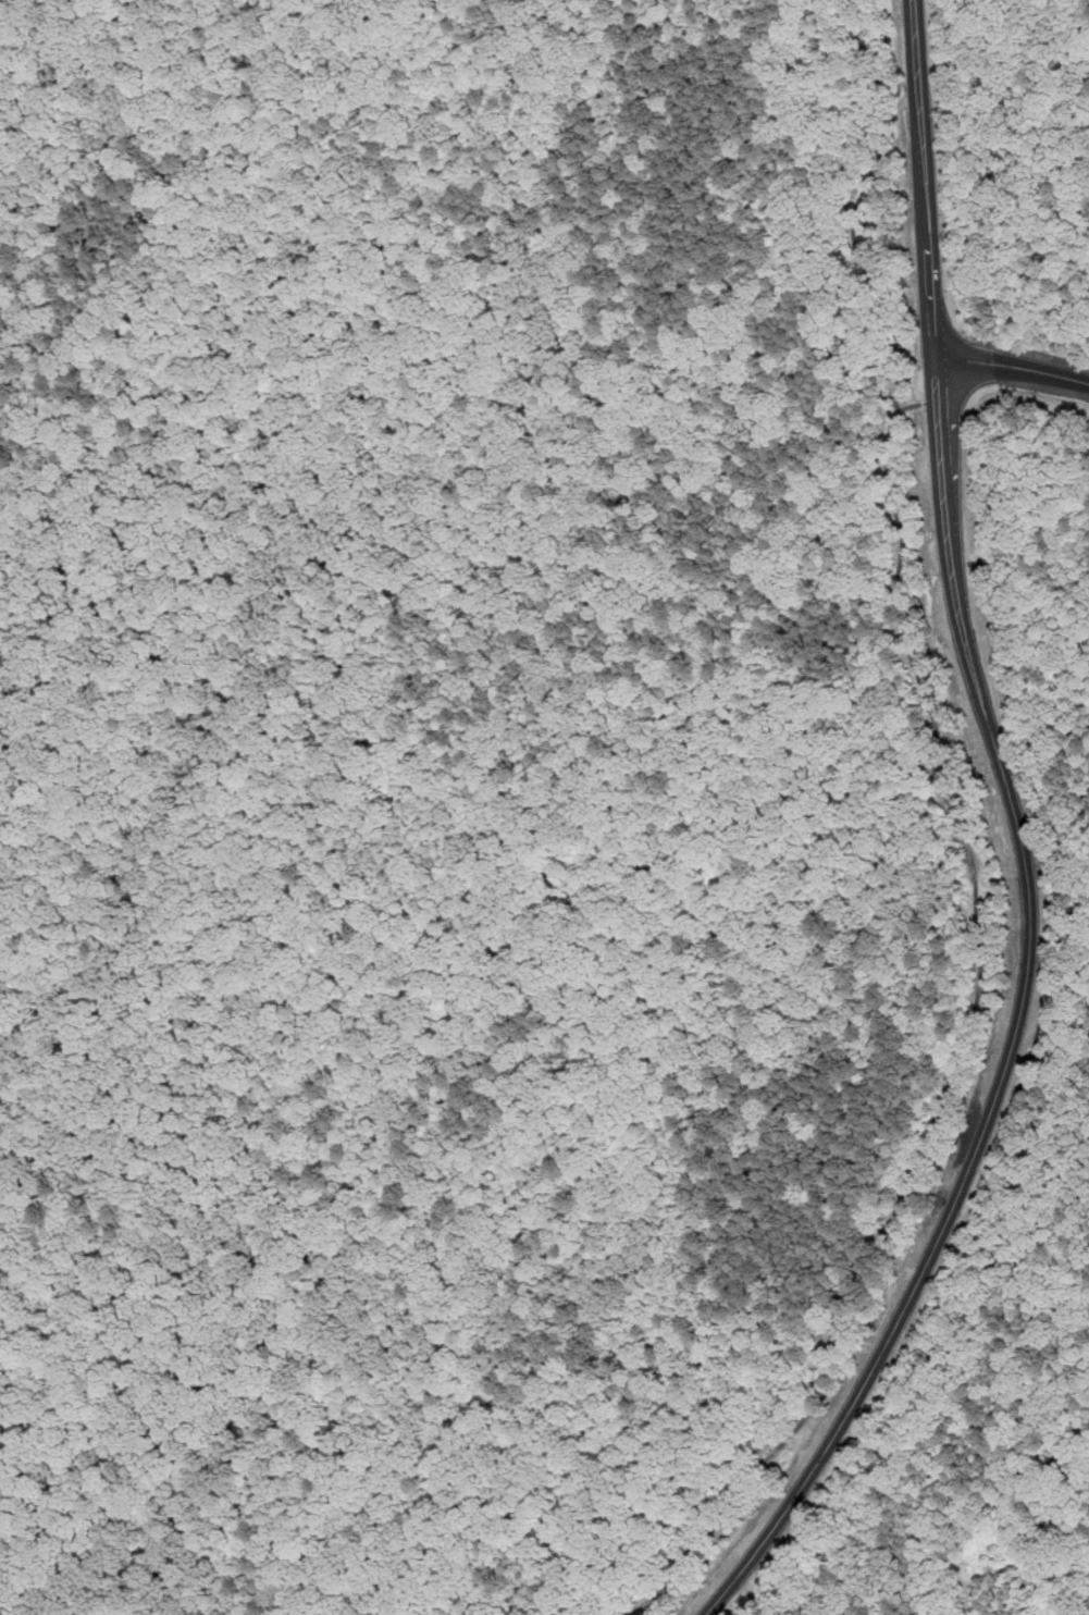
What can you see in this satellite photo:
road: (856, 205)
road: (1013, 365)
road: (932, 402)
road: (1023, 843)
road: (966, 1035)

